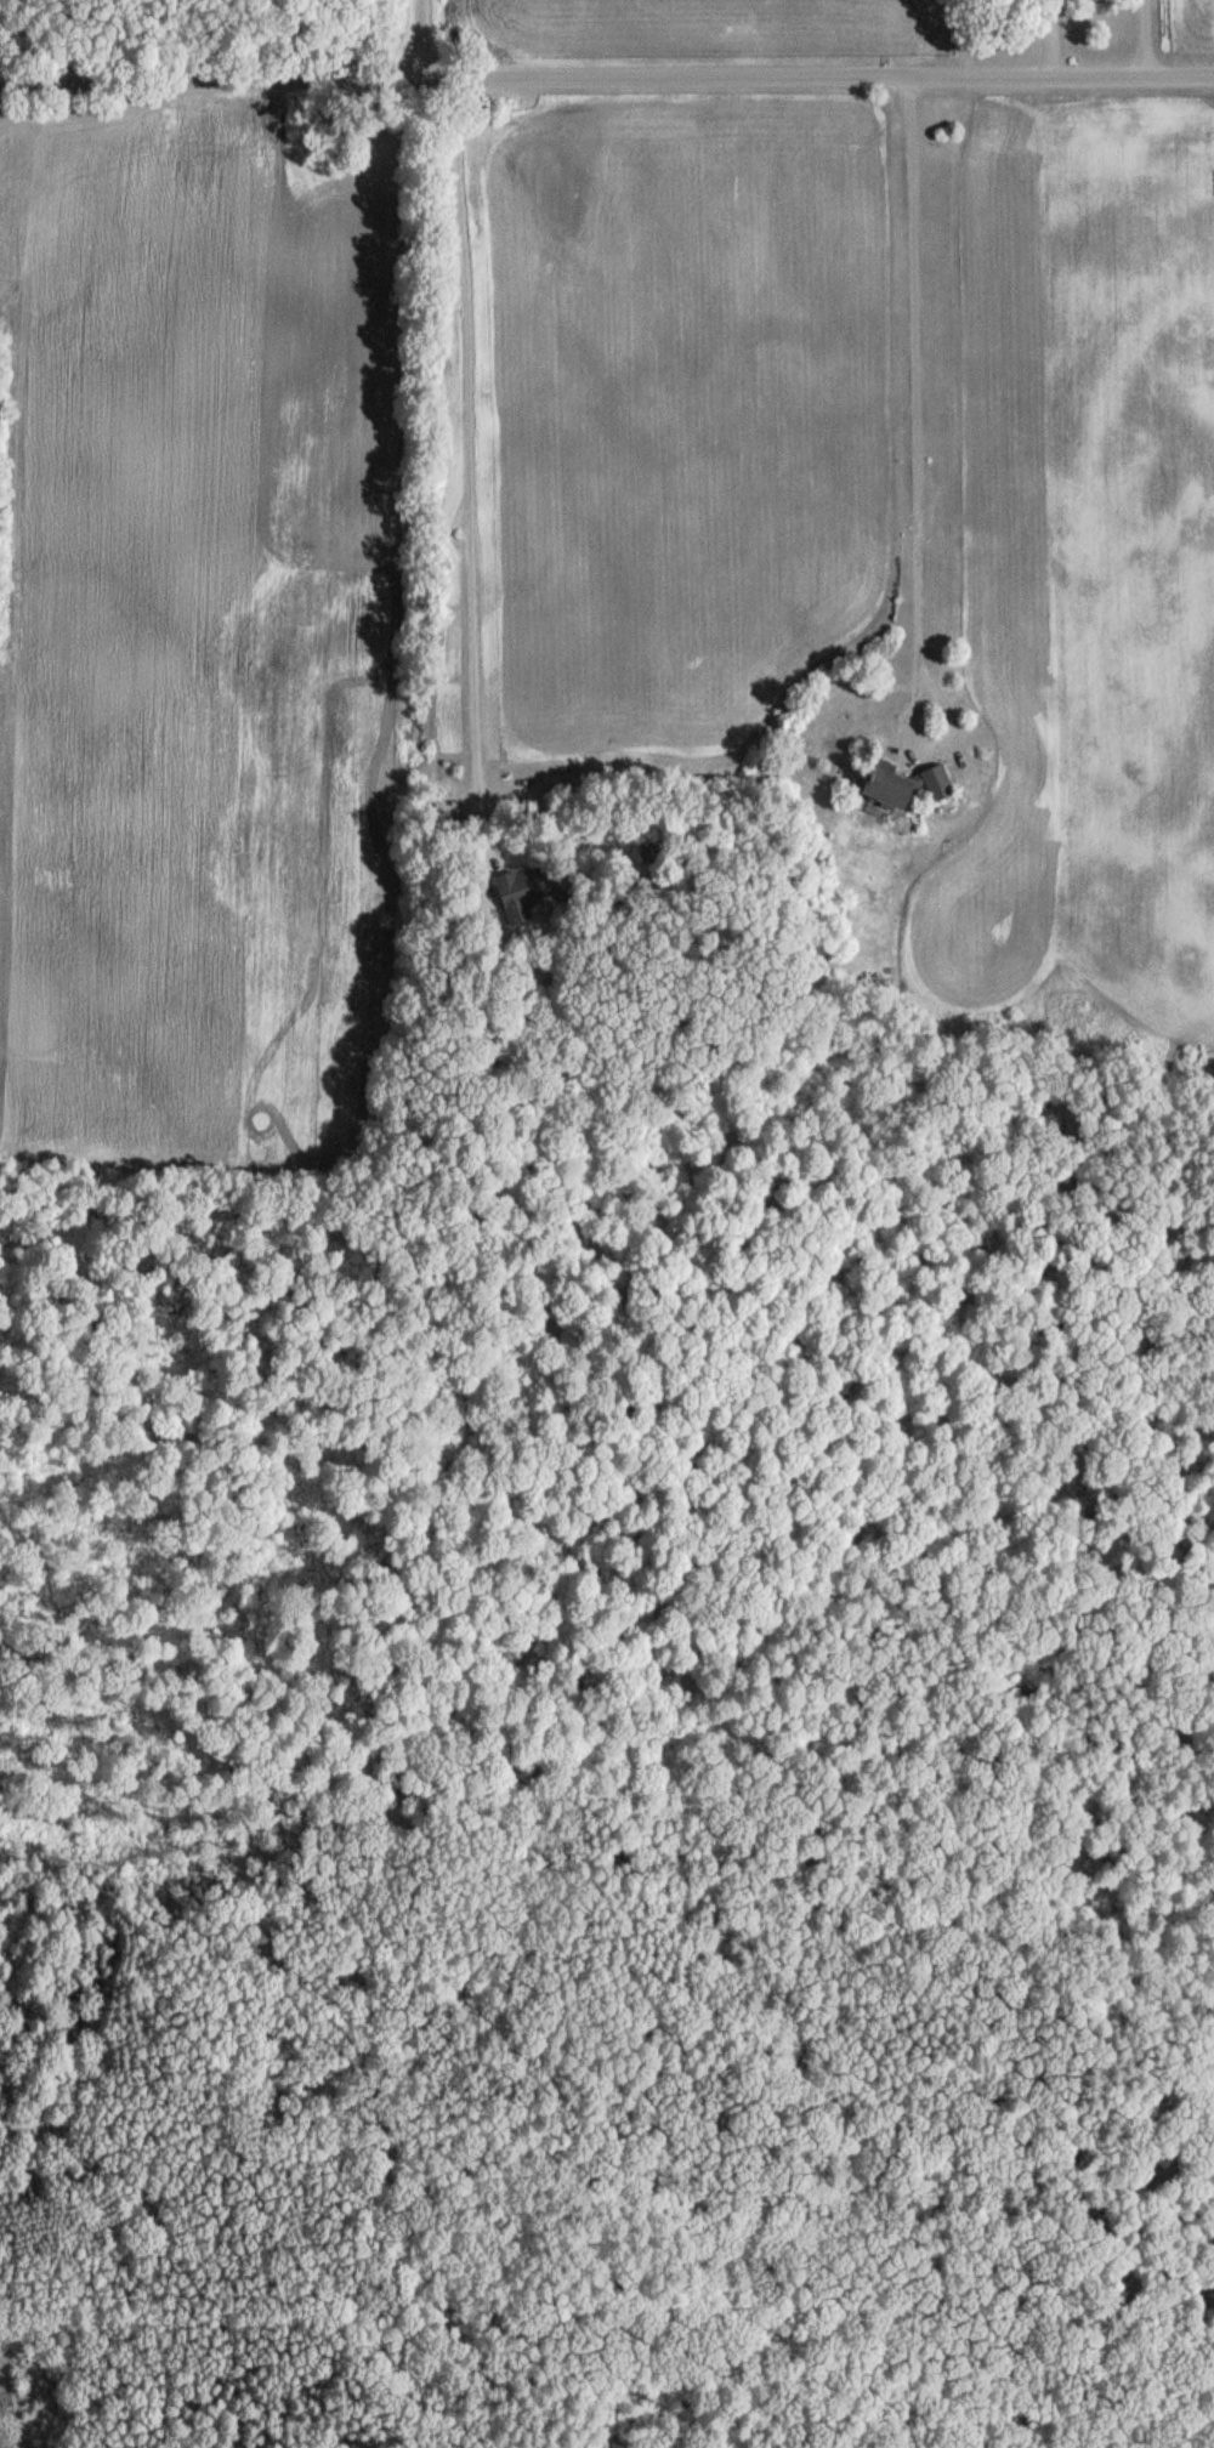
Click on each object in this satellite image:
road: (1133, 39)
road: (419, 40)
road: (607, 79)
road: (902, 408)
road: (453, 441)
building: (935, 782)
building: (887, 786)
building: (649, 854)
building: (518, 891)

